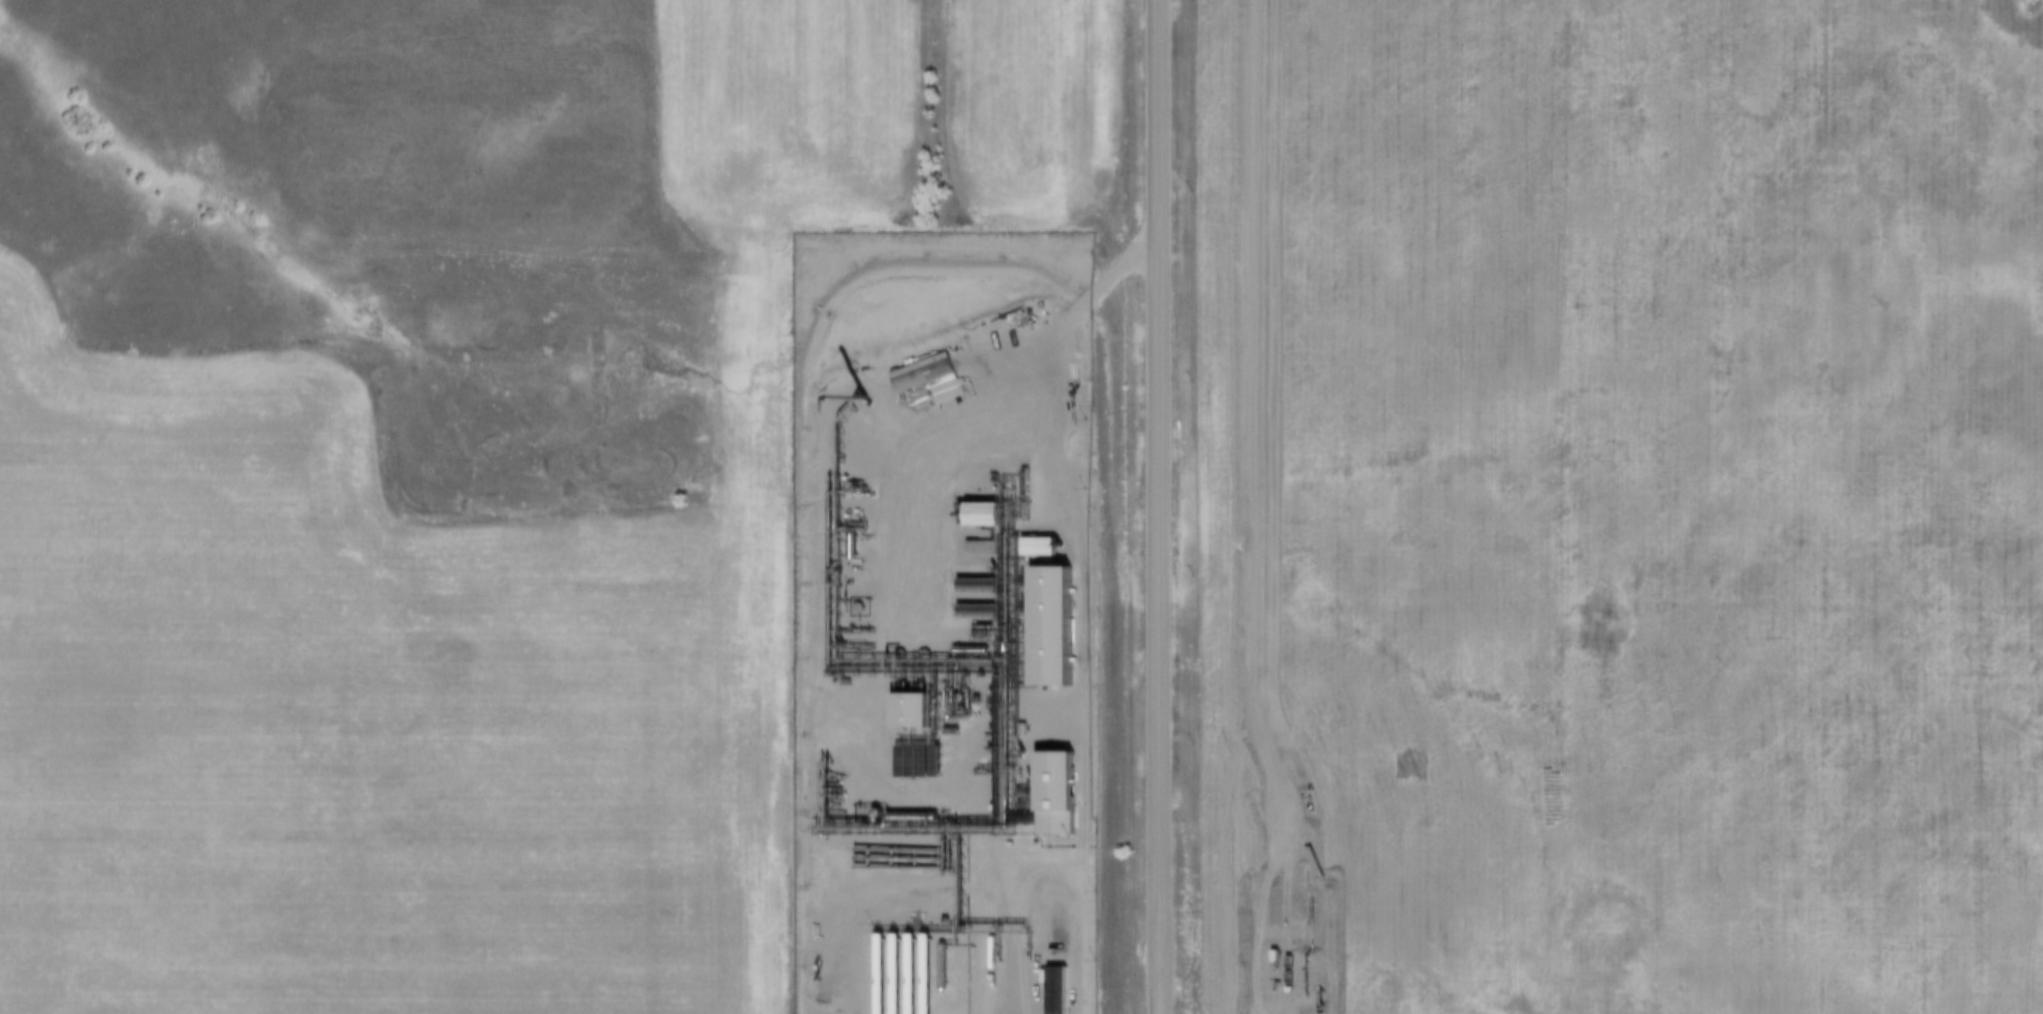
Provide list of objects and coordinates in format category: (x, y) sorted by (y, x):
road: (938, 273)
road: (1156, 507)

